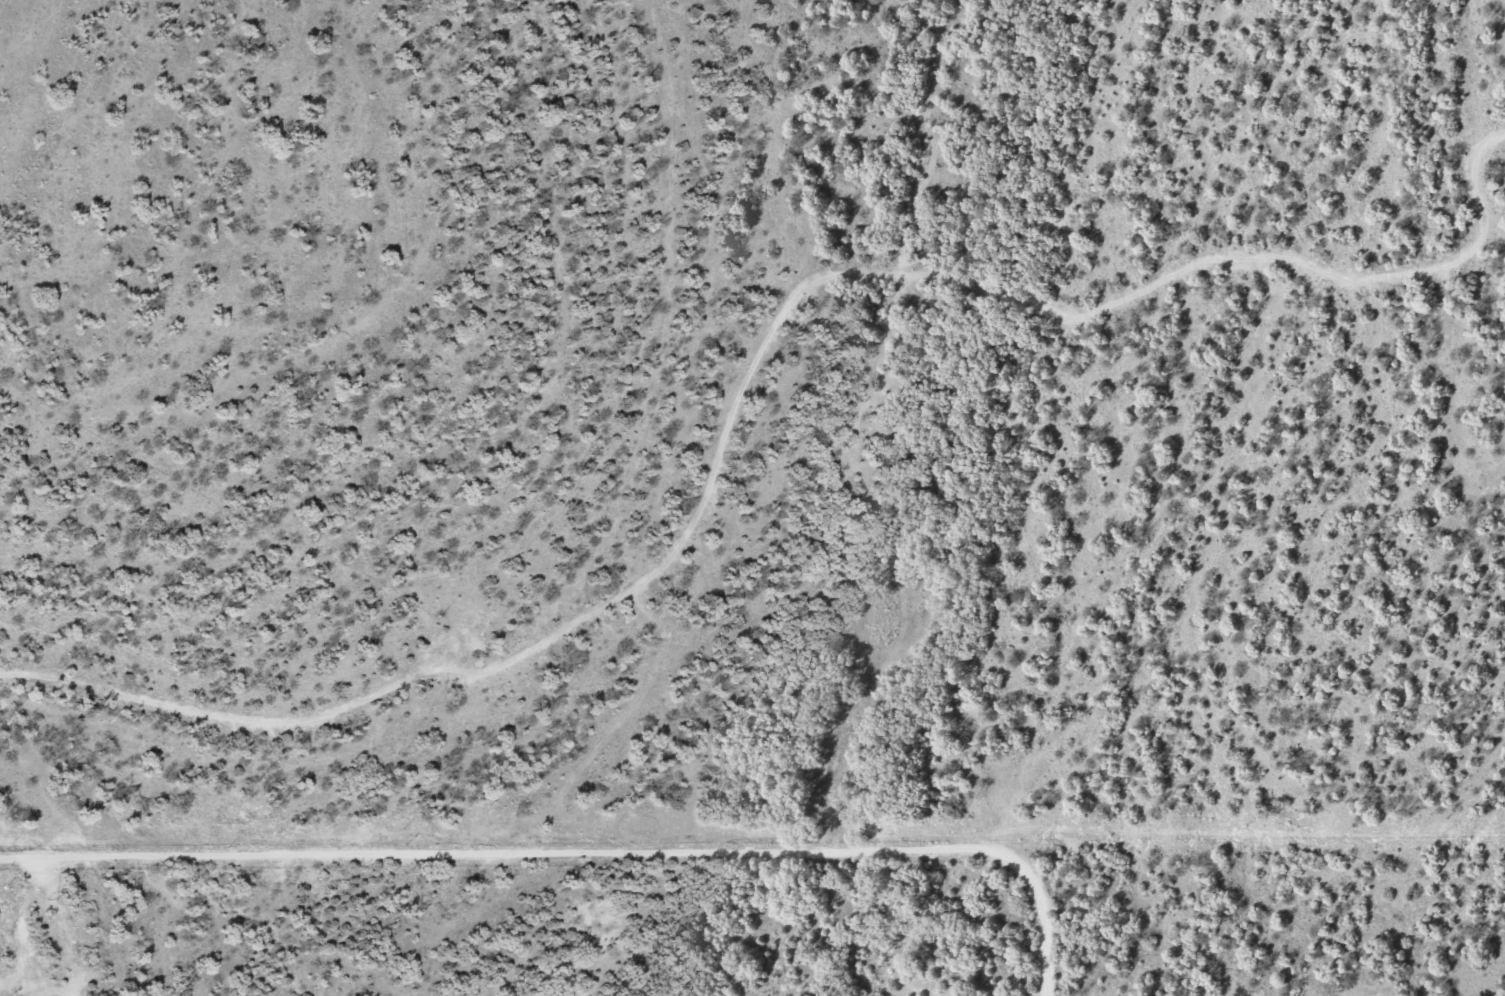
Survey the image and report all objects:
road: (743, 348)
road: (539, 874)

